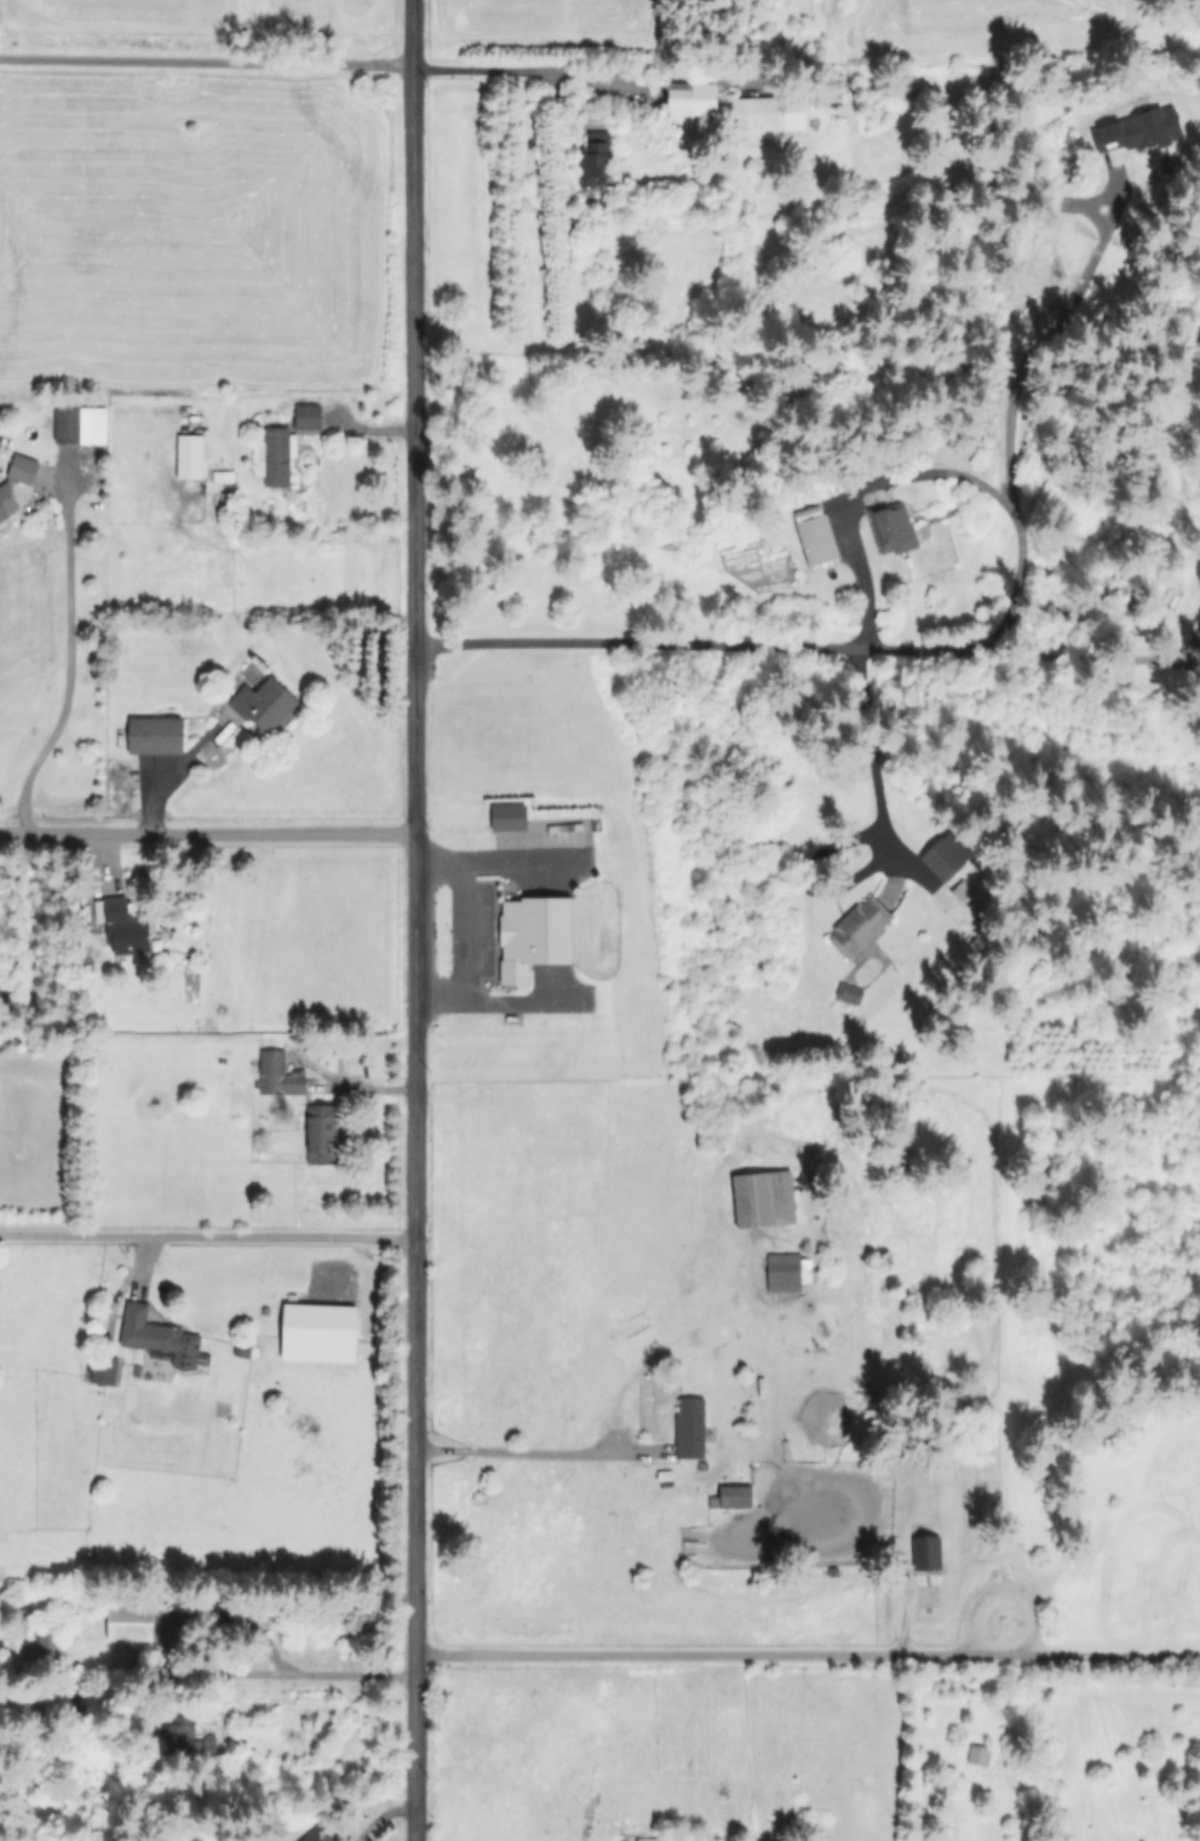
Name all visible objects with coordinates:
road: (207, 62)
road: (588, 74)
building: (688, 101)
building: (765, 113)
building: (592, 159)
building: (305, 415)
building: (73, 425)
building: (188, 455)
building: (5, 487)
road: (1010, 505)
building: (890, 528)
building: (813, 534)
road: (1010, 609)
road: (667, 647)
road: (1095, 660)
road: (67, 672)
building: (263, 704)
building: (153, 734)
road: (872, 755)
building: (506, 816)
building: (564, 826)
road: (414, 827)
road: (207, 833)
building: (943, 854)
building: (857, 925)
road: (463, 930)
building: (530, 935)
building: (846, 993)
building: (276, 1073)
building: (320, 1132)
building: (760, 1198)
road: (207, 1237)
building: (785, 1271)
building: (317, 1331)
building: (157, 1336)
building: (688, 1427)
road: (521, 1450)
building: (729, 1496)
building: (924, 1552)
building: (127, 1622)
road: (806, 1657)
road: (289, 1671)
building: (191, 1739)
road: (413, 1748)
building: (976, 1754)
road: (380, 1816)
building: (315, 1835)
building: (645, 1839)

